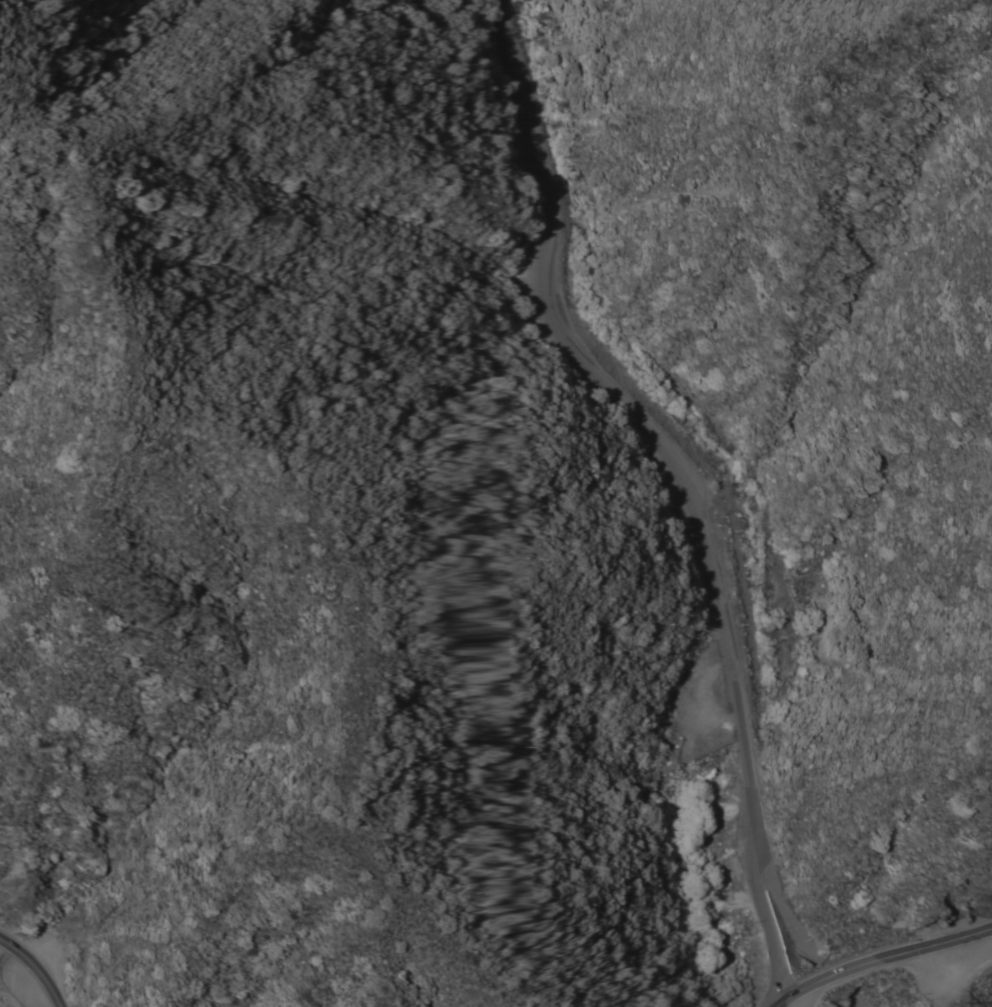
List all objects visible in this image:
road: (675, 483)
road: (773, 882)
road: (879, 957)
road: (35, 969)
road: (858, 998)

